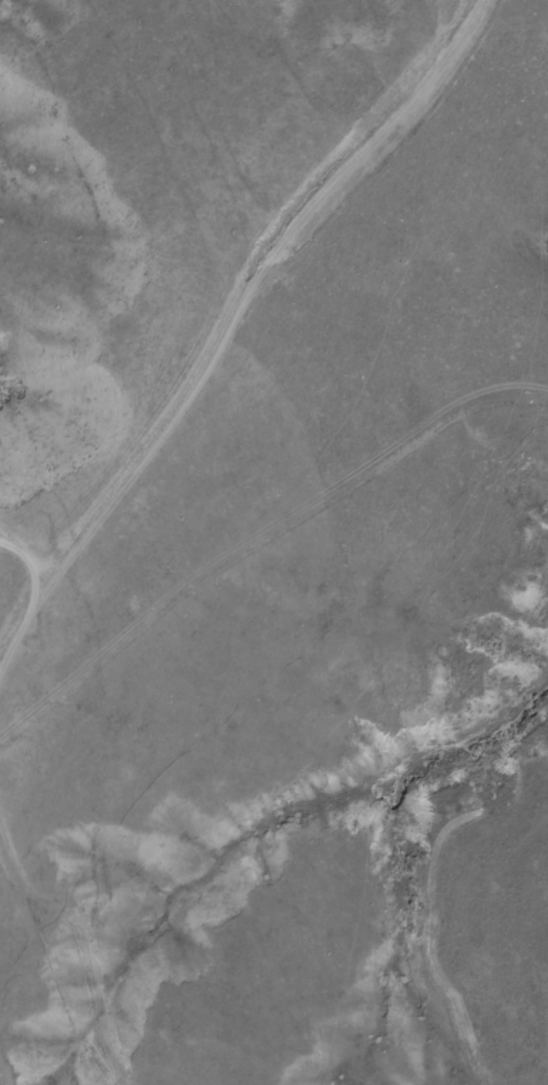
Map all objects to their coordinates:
road: (226, 343)
road: (16, 1071)

